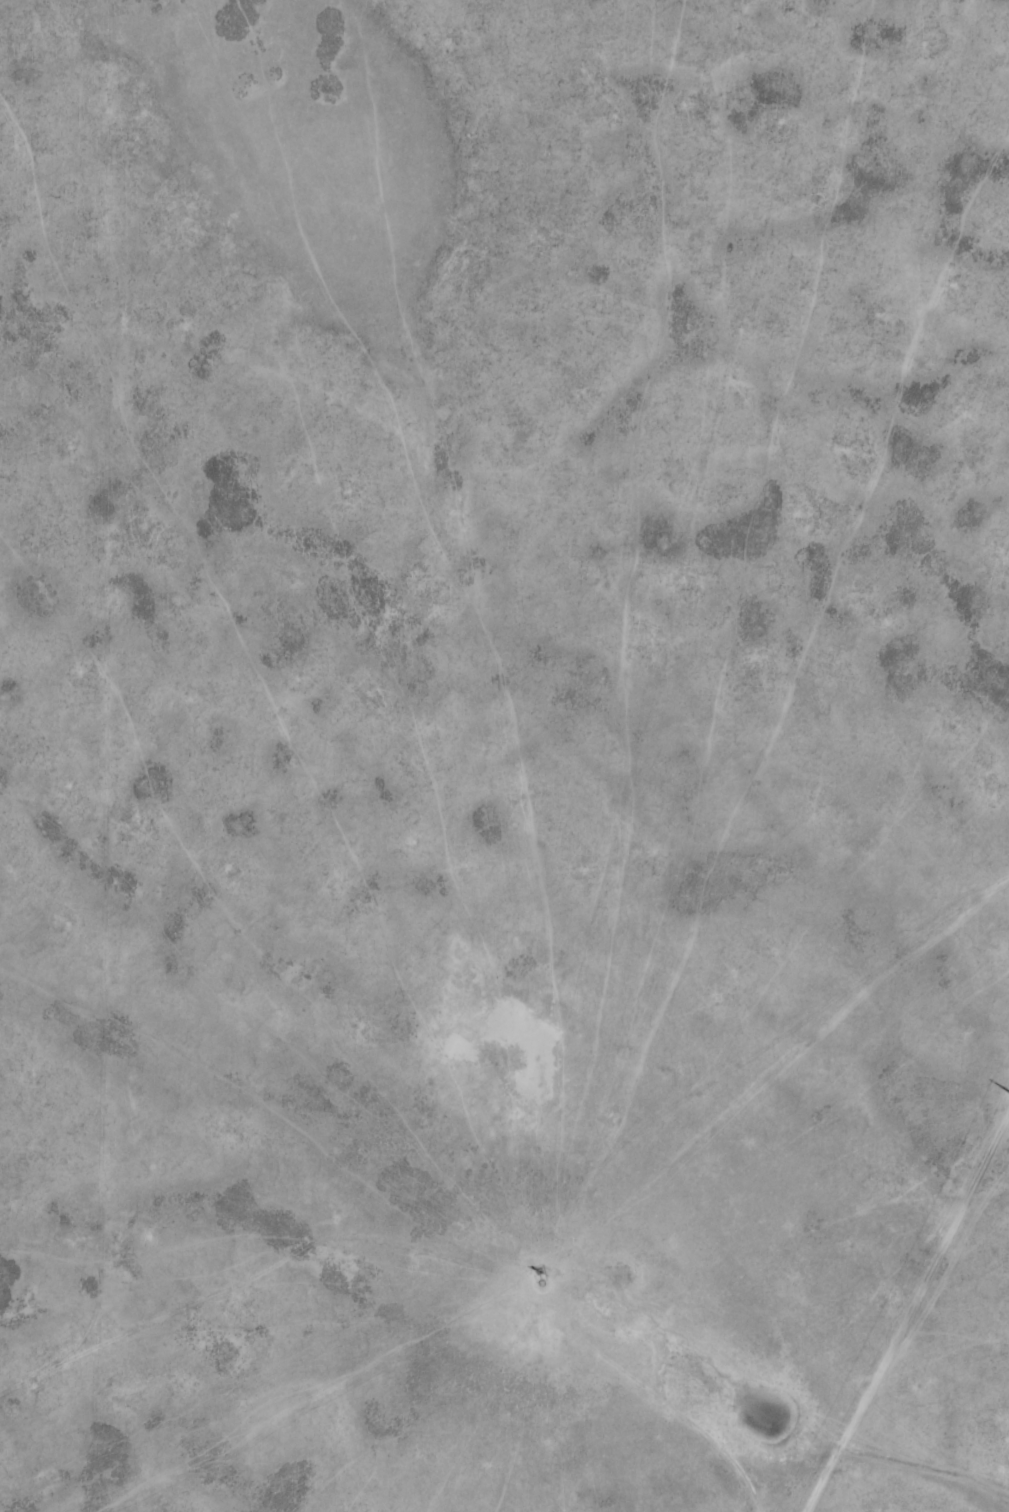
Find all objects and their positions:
road: (108, 199)

